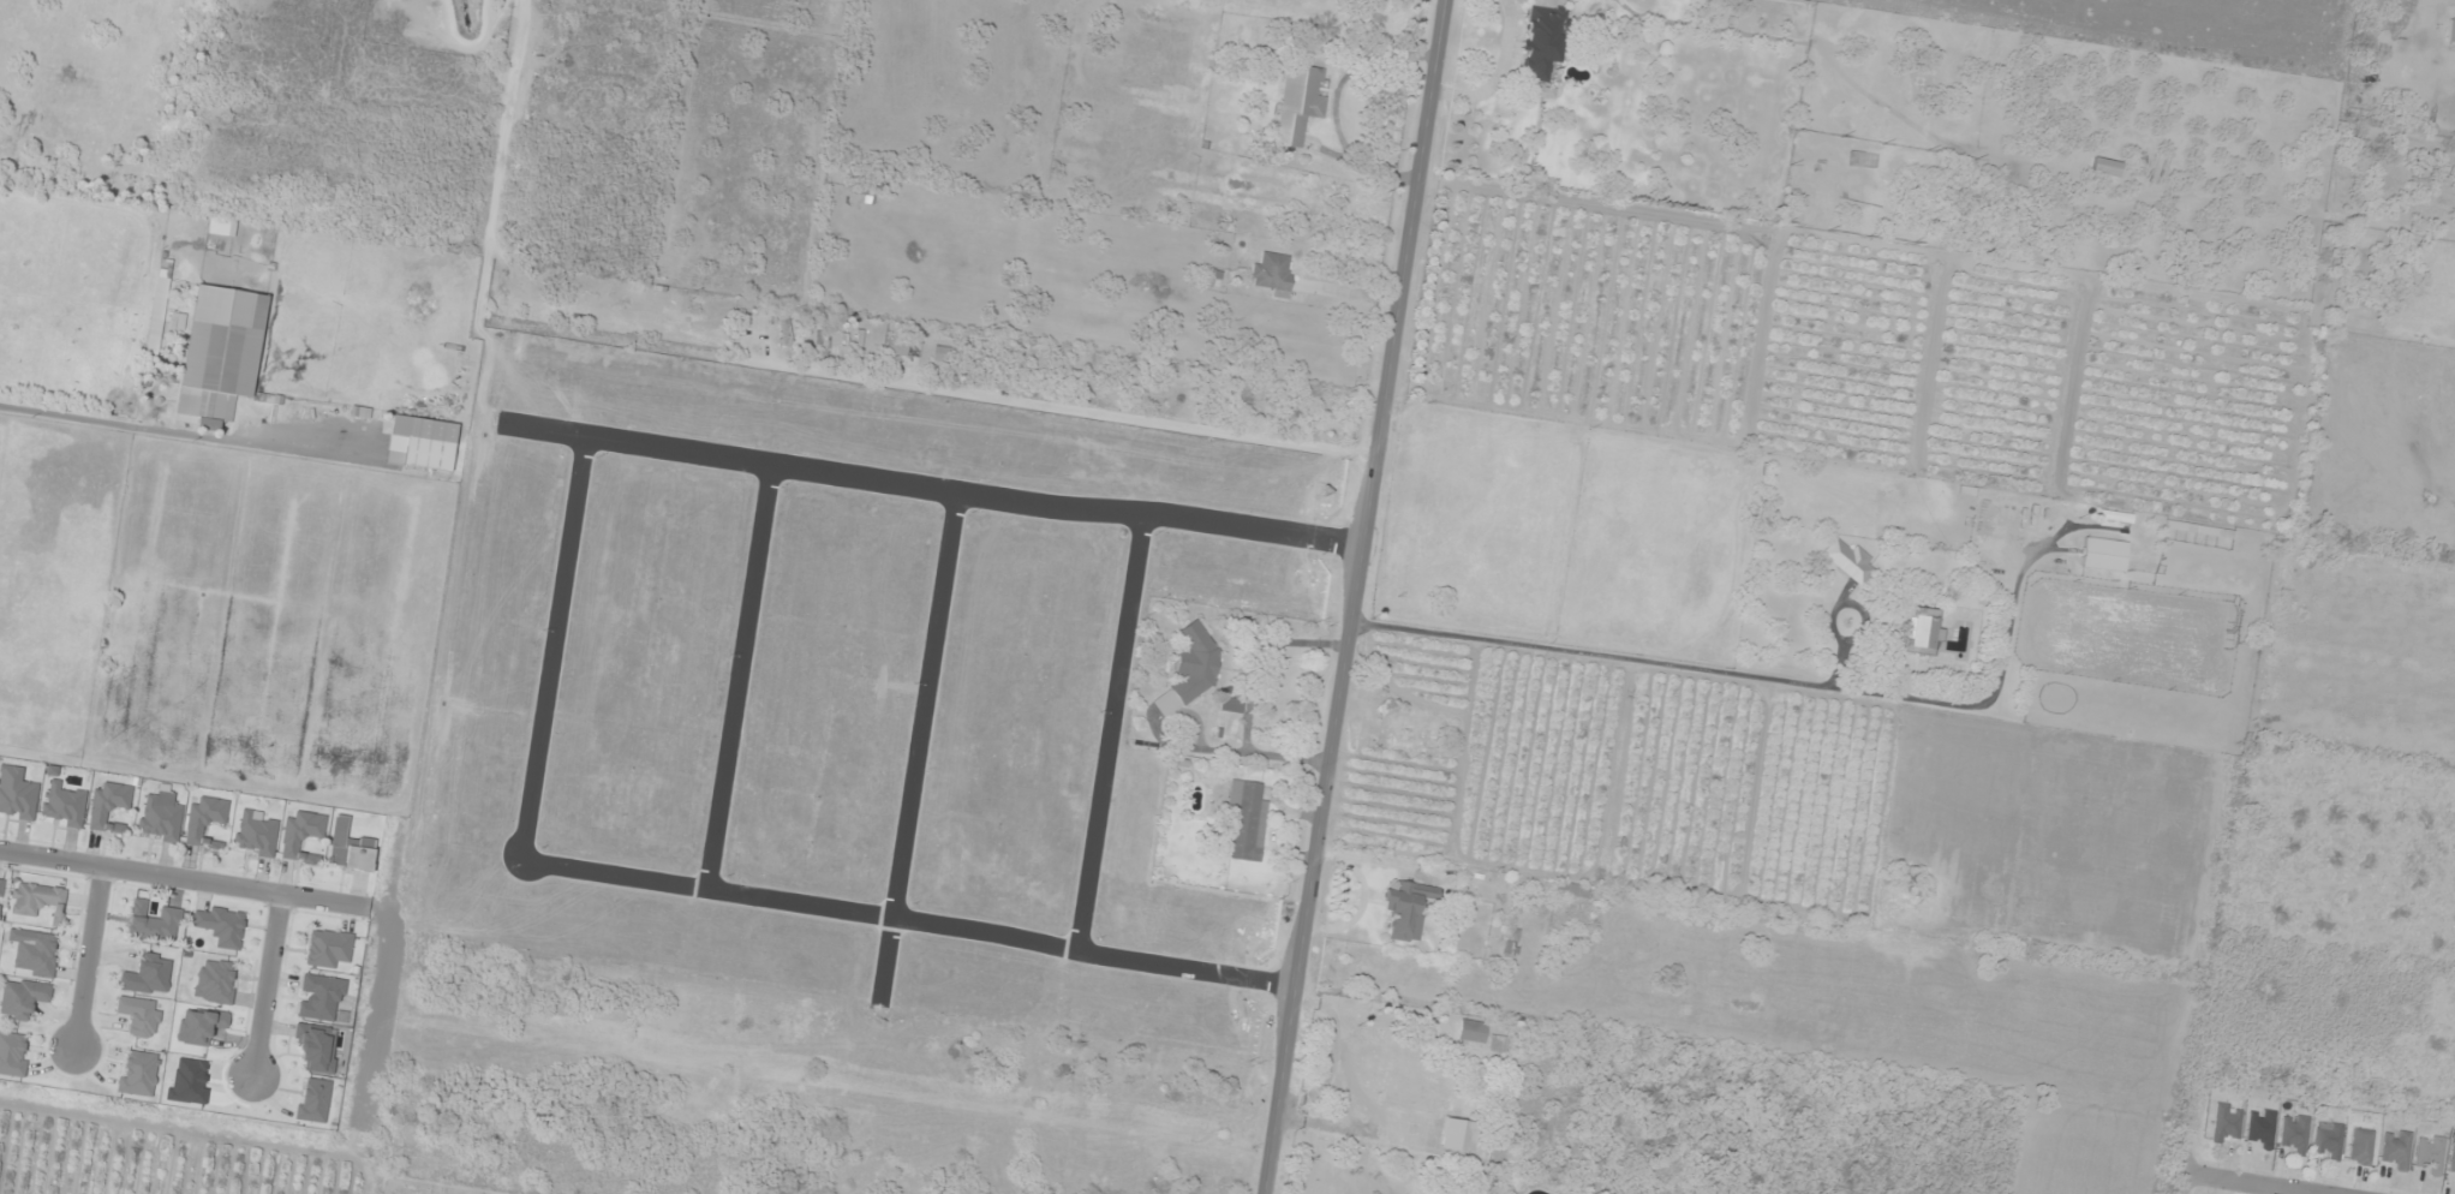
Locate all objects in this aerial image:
building: (1542, 48)
building: (1300, 105)
building: (1823, 127)
building: (2107, 167)
building: (1274, 273)
building: (1213, 277)
building: (786, 333)
building: (823, 340)
building: (897, 347)
building: (220, 354)
building: (944, 354)
building: (422, 444)
road: (926, 486)
building: (2202, 530)
building: (2105, 554)
building: (1850, 560)
road: (1351, 596)
building: (1922, 637)
road: (551, 647)
building: (1191, 670)
road: (737, 676)
road: (1112, 734)
building: (1421, 742)
road: (916, 744)
building: (17, 794)
building: (64, 806)
building: (109, 806)
building: (159, 820)
building: (1247, 823)
building: (256, 835)
building: (301, 835)
building: (348, 848)
road: (195, 882)
building: (1, 883)
building: (1572, 891)
building: (36, 899)
building: (1408, 909)
road: (906, 921)
building: (154, 923)
building: (328, 949)
building: (37, 955)
road: (91, 956)
building: (148, 974)
road: (268, 986)
building: (23, 999)
road: (374, 1021)
building: (1473, 1032)
building: (1497, 1044)
building: (12, 1055)
building: (1375, 1071)
building: (138, 1073)
building: (1433, 1091)
building: (2227, 1124)
building: (2262, 1128)
building: (2294, 1134)
building: (1458, 1135)
building: (2329, 1140)
building: (2361, 1147)
building: (2397, 1151)
building: (2430, 1154)
building: (2453, 1164)
road: (2254, 1184)

